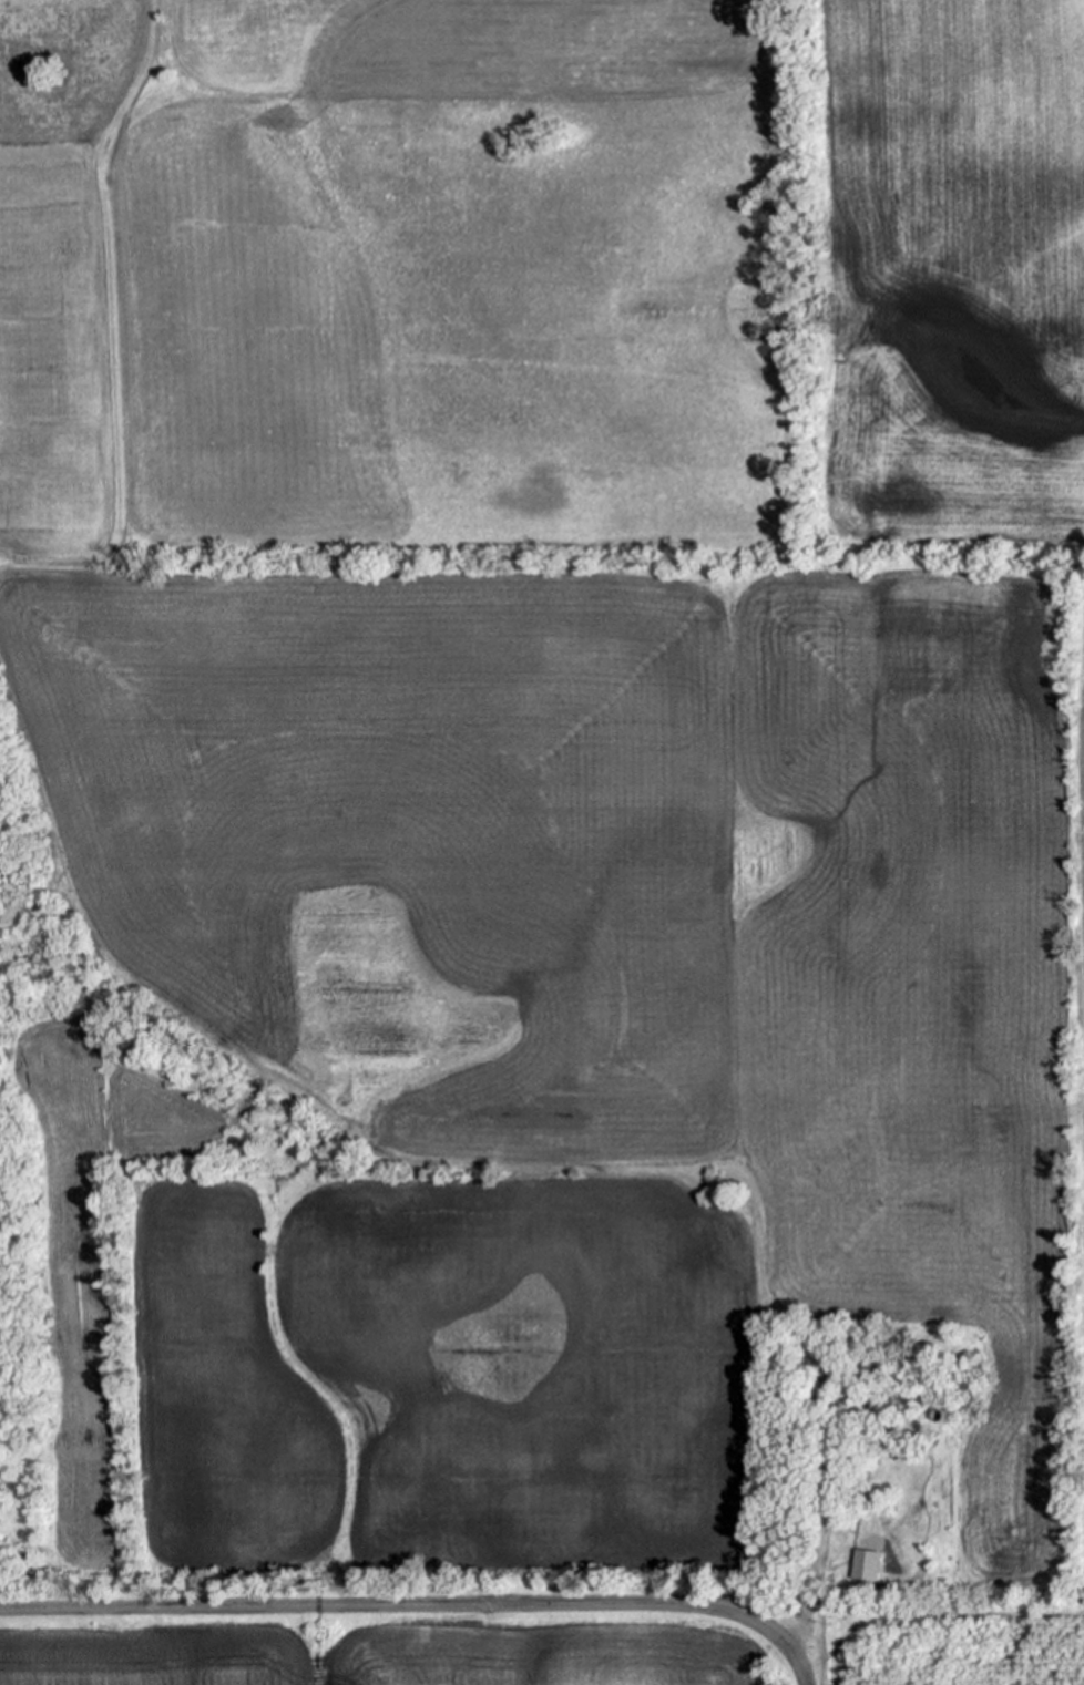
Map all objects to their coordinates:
building: (717, 1186)
building: (867, 1326)
building: (930, 1337)
building: (971, 1354)
building: (944, 1415)
road: (421, 1607)

